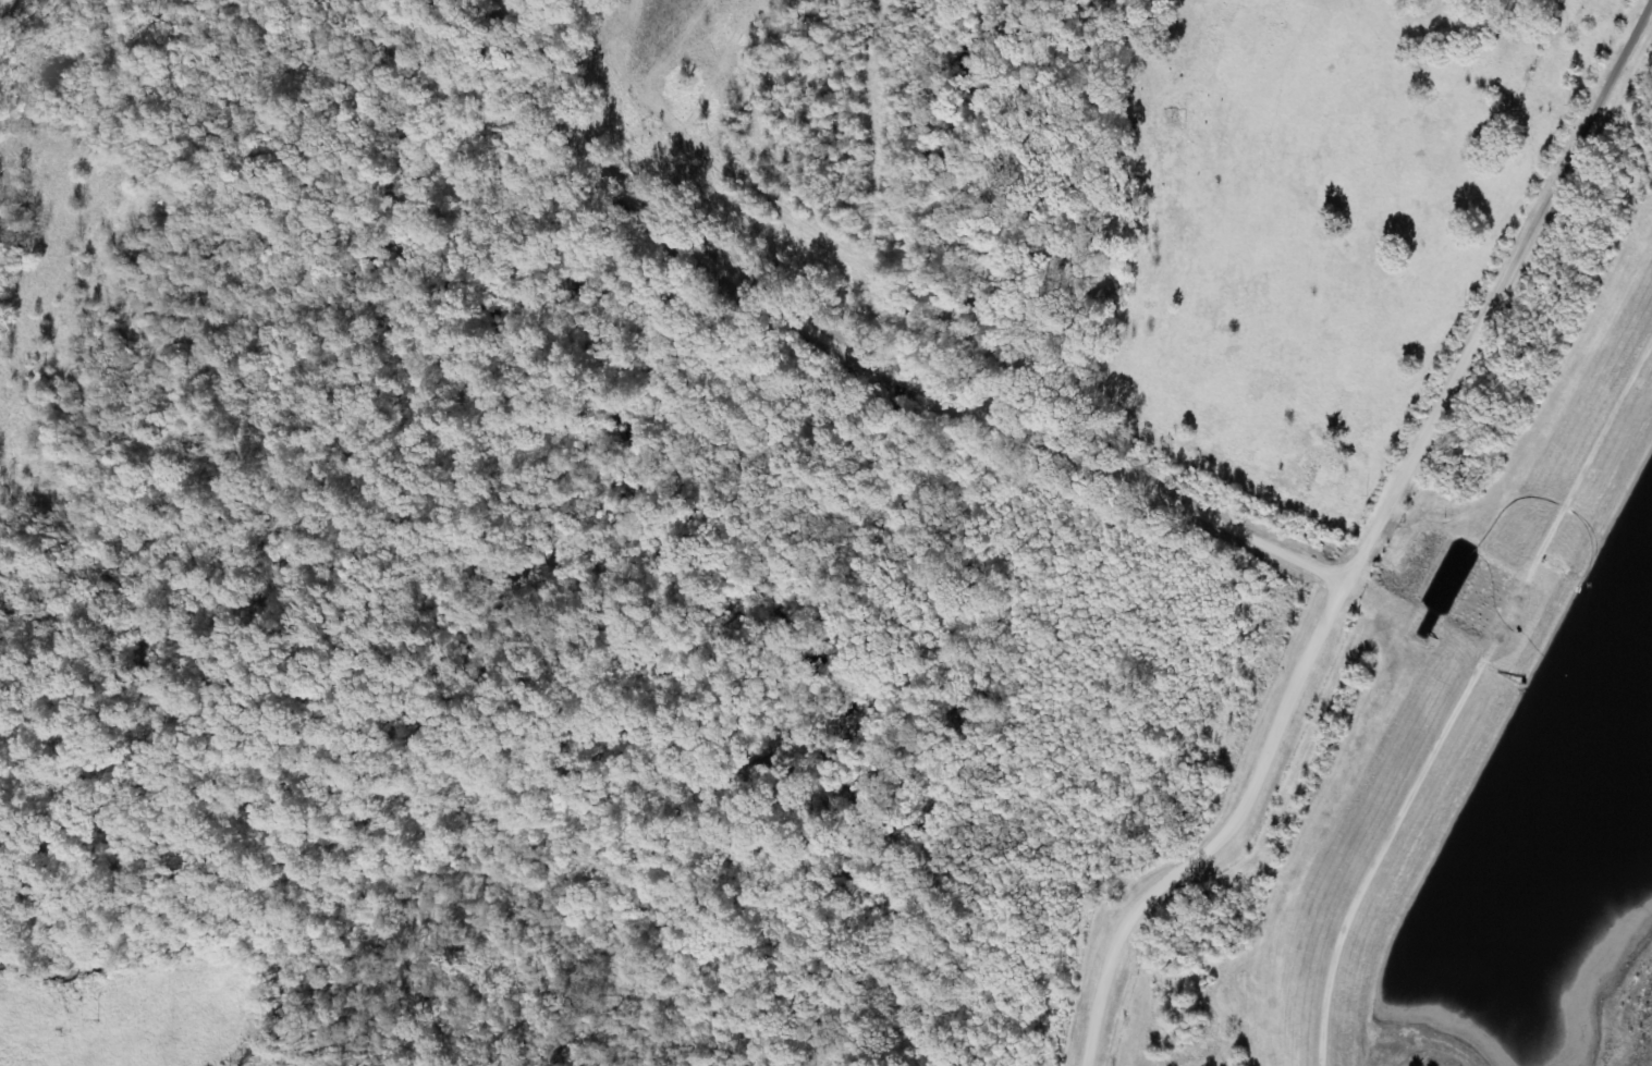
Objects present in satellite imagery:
road: (846, 355)
road: (1365, 540)
road: (1467, 706)

